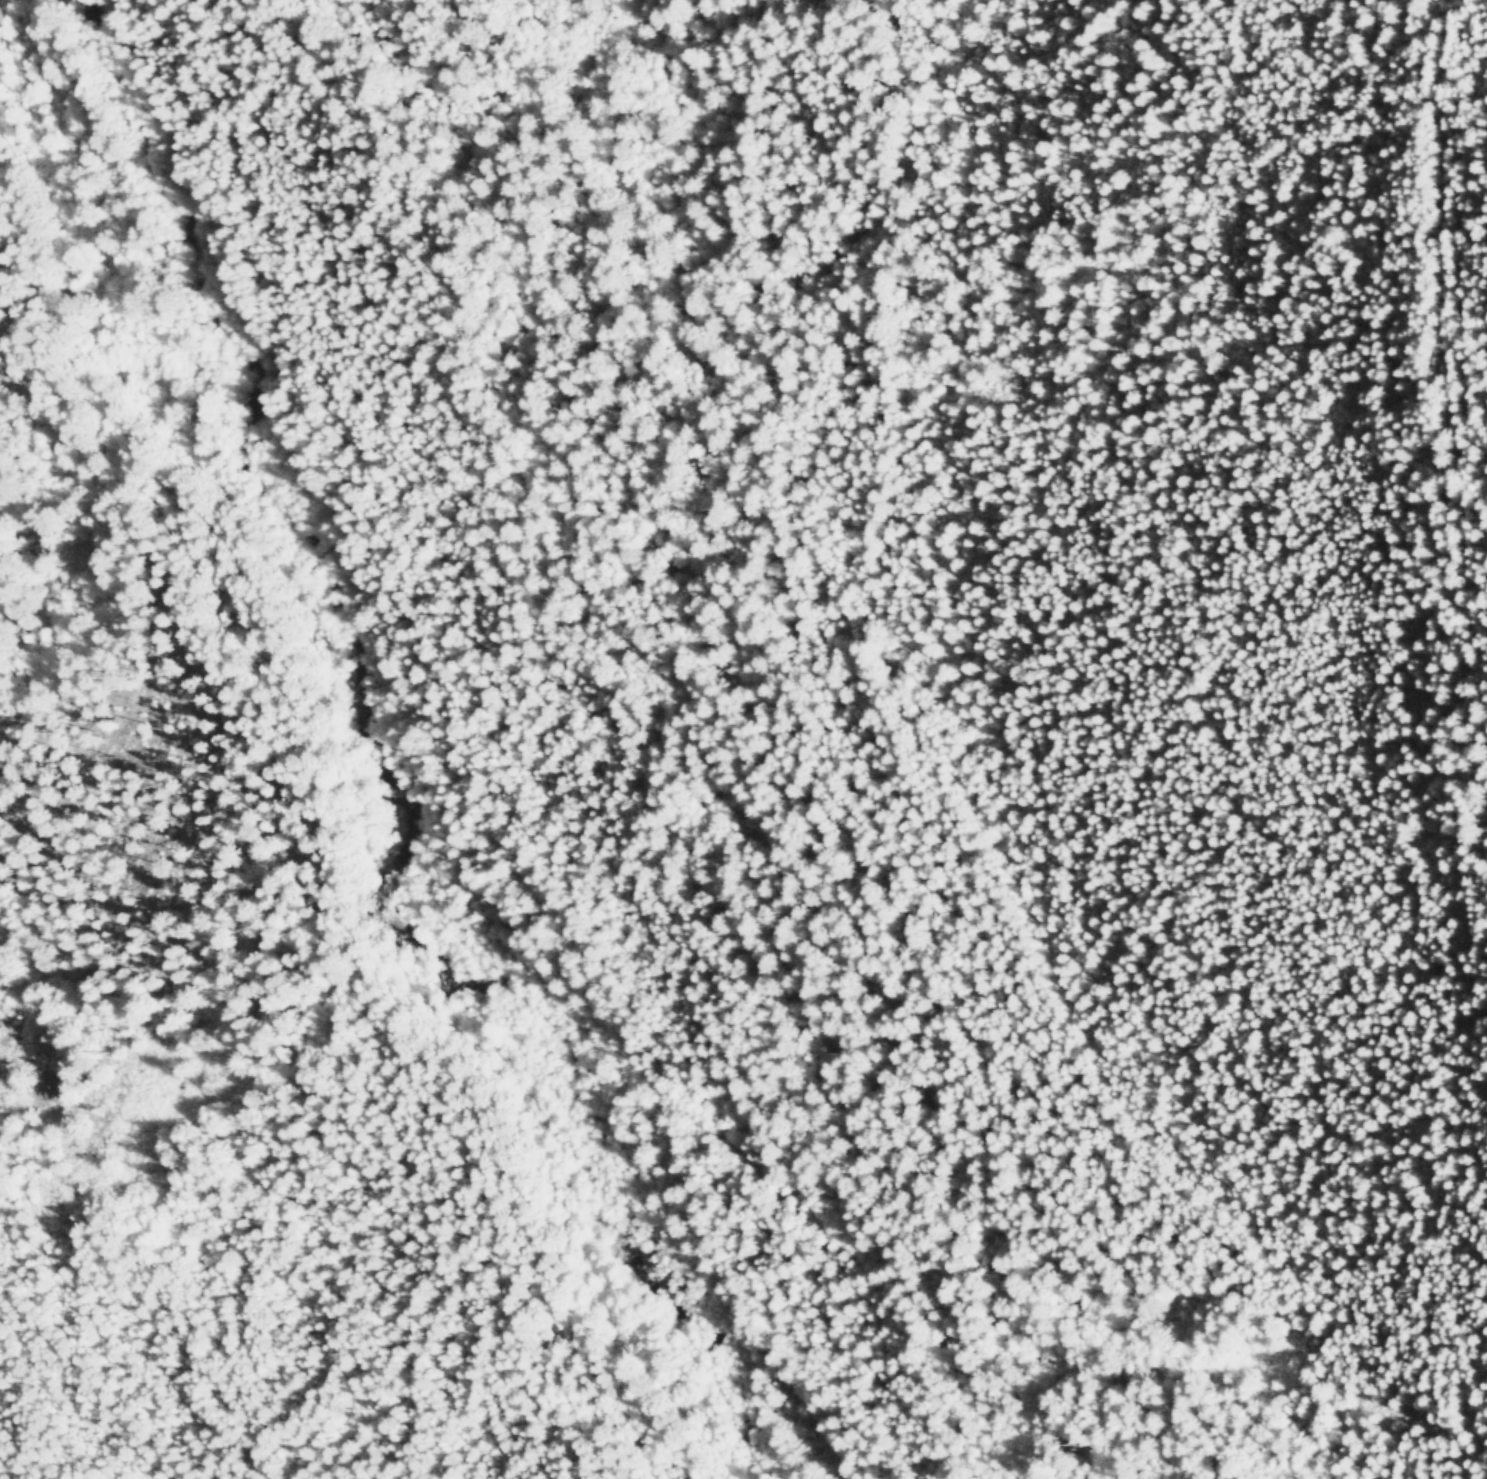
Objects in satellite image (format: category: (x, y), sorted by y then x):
road: (1416, 549)

